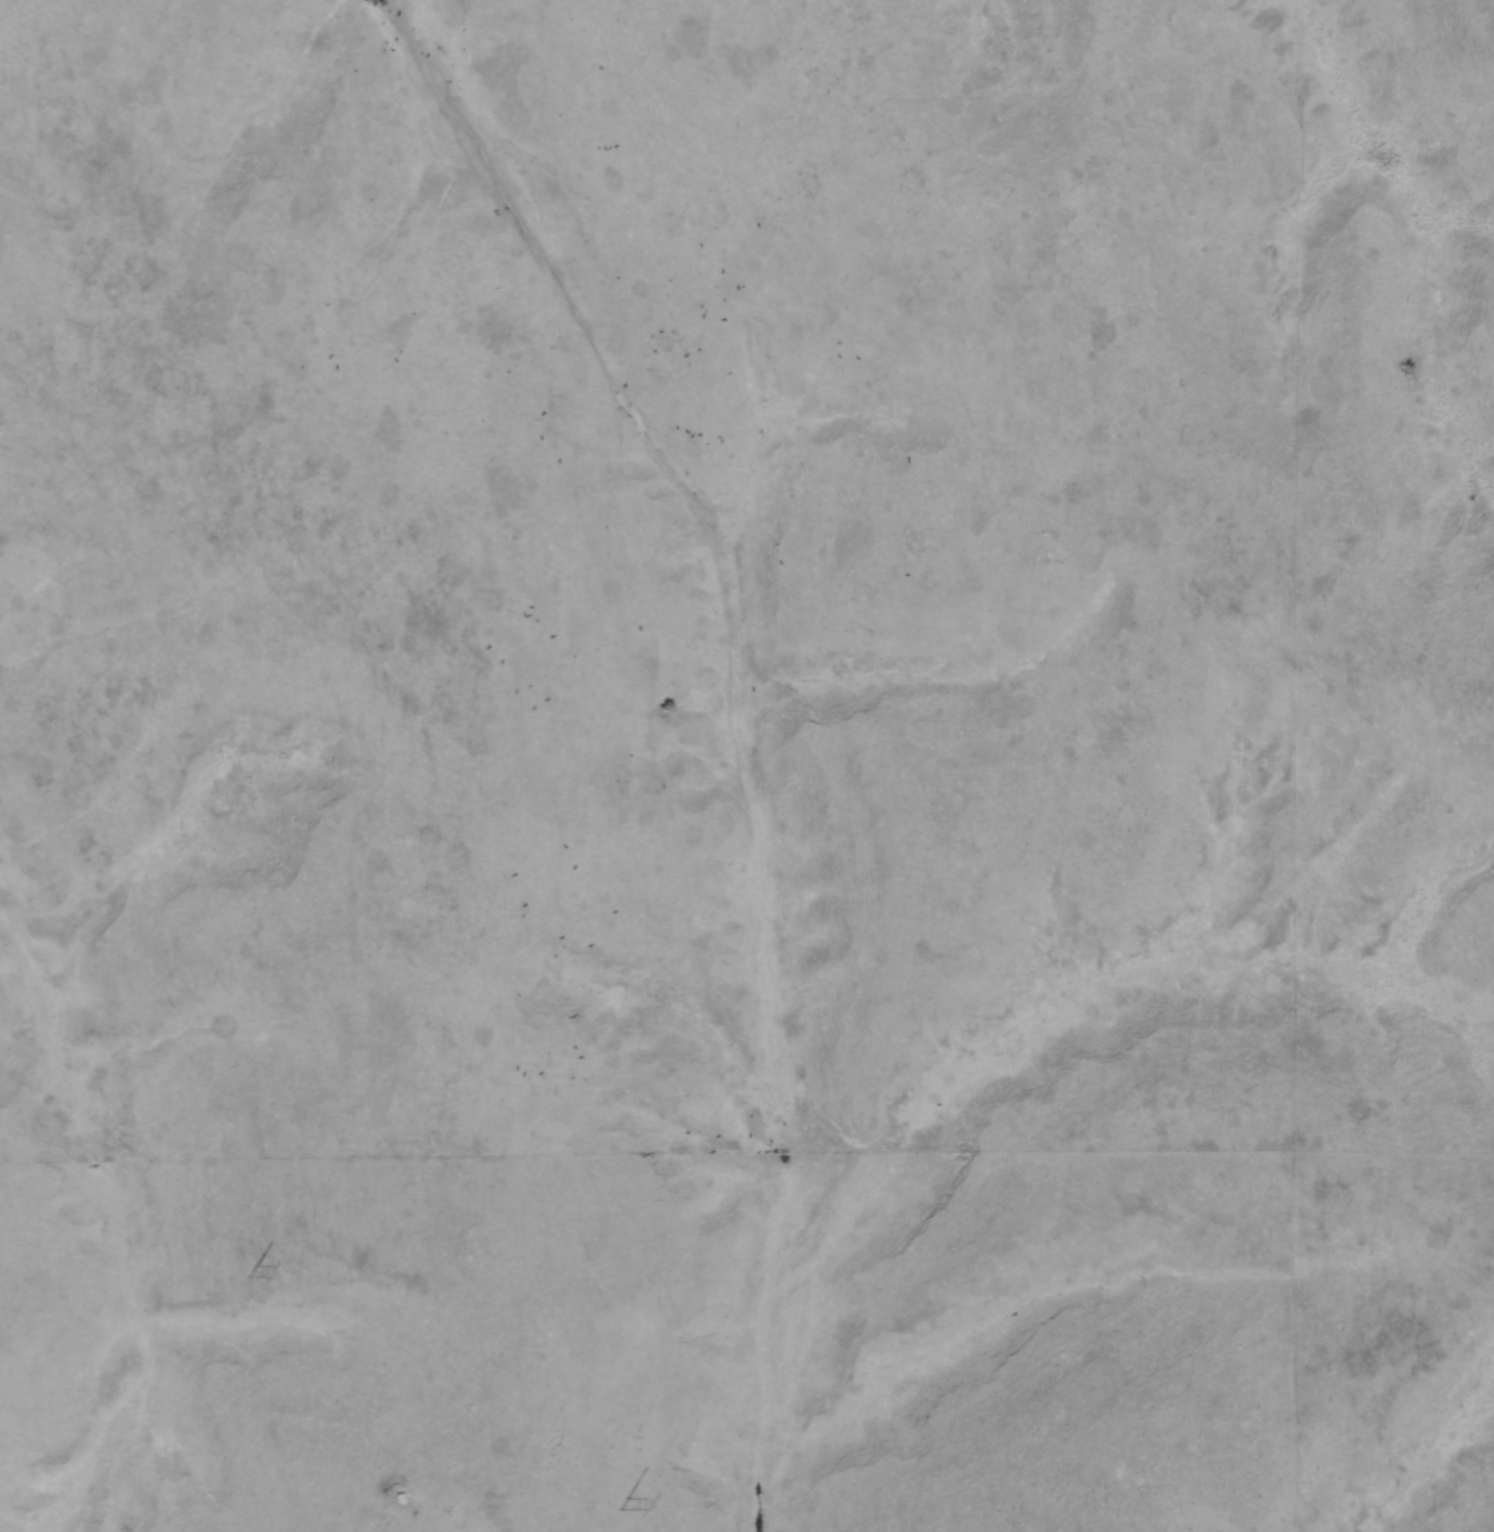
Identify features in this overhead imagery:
power tower: (249, 1272)
power tower: (627, 1508)

